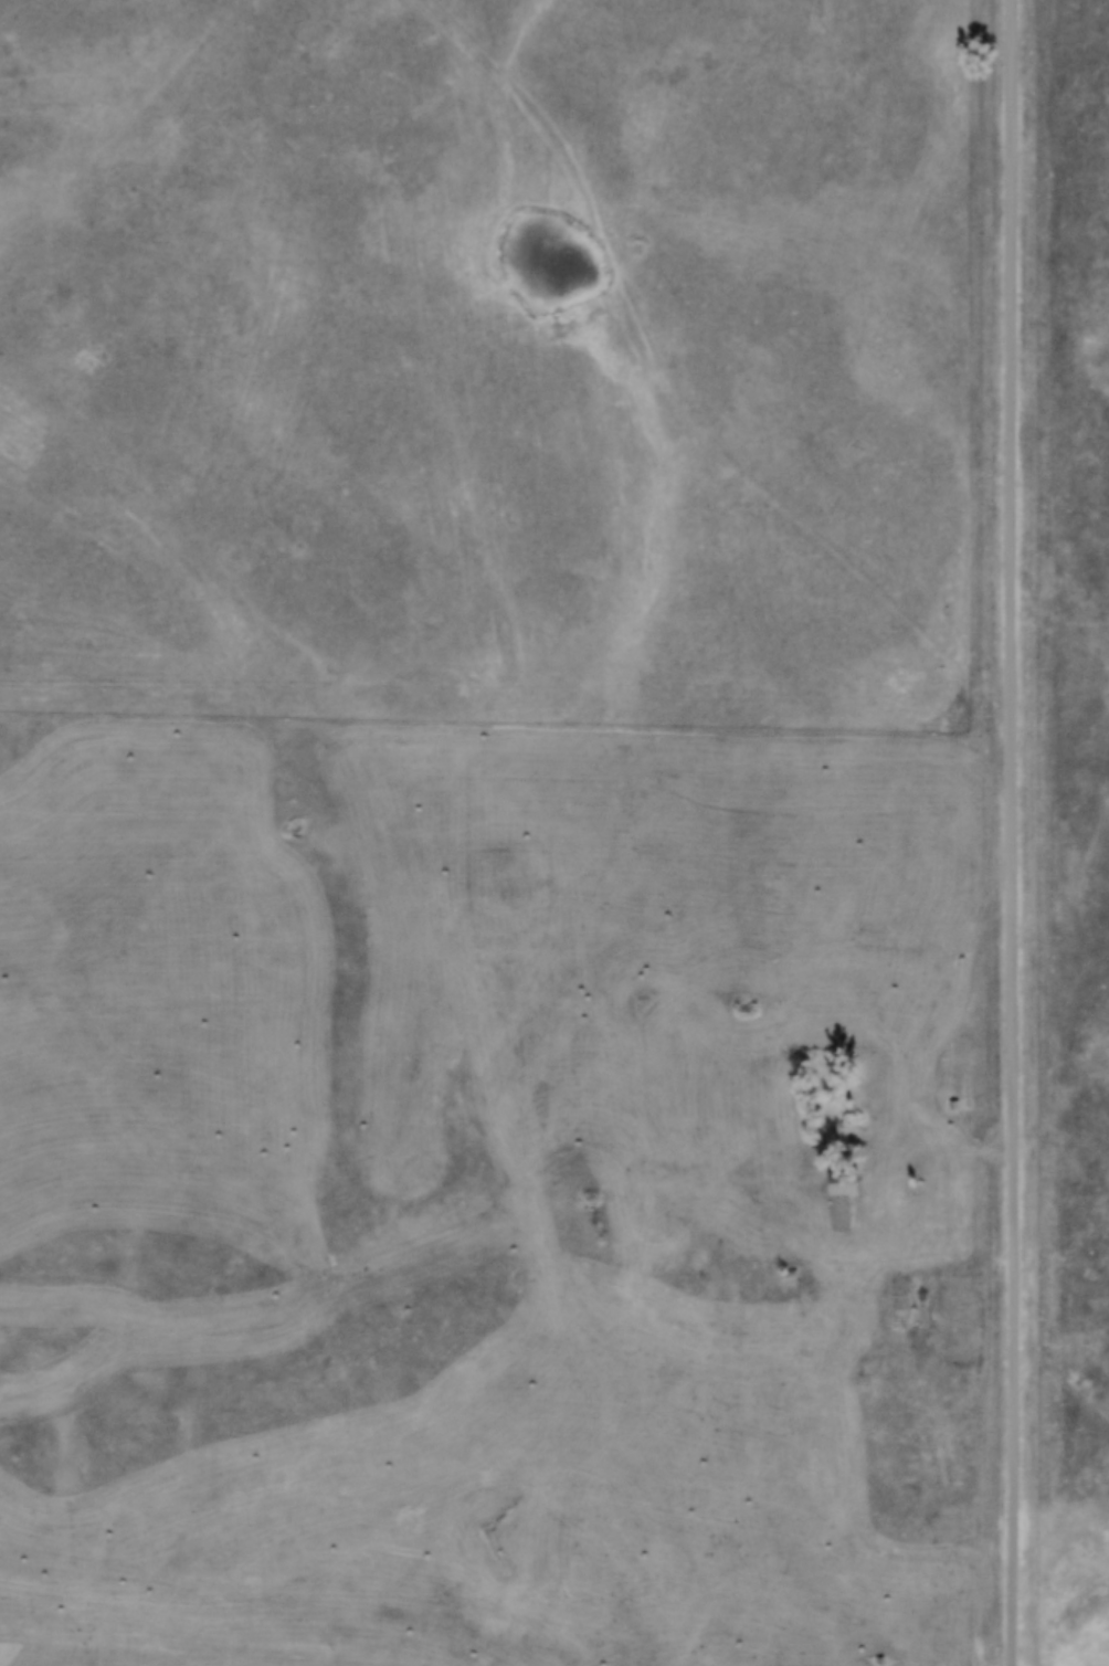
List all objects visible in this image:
road: (1012, 799)
building: (842, 1204)
road: (1014, 1632)

